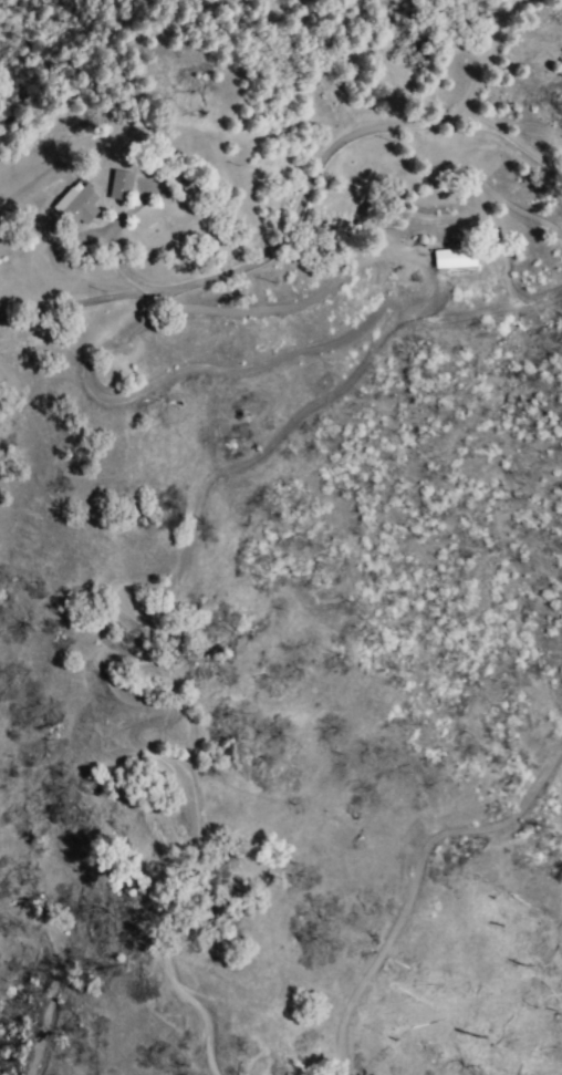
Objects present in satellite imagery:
road: (504, 58)
road: (514, 145)
building: (106, 188)
building: (64, 208)
road: (103, 251)
road: (266, 254)
building: (449, 260)
road: (49, 266)

